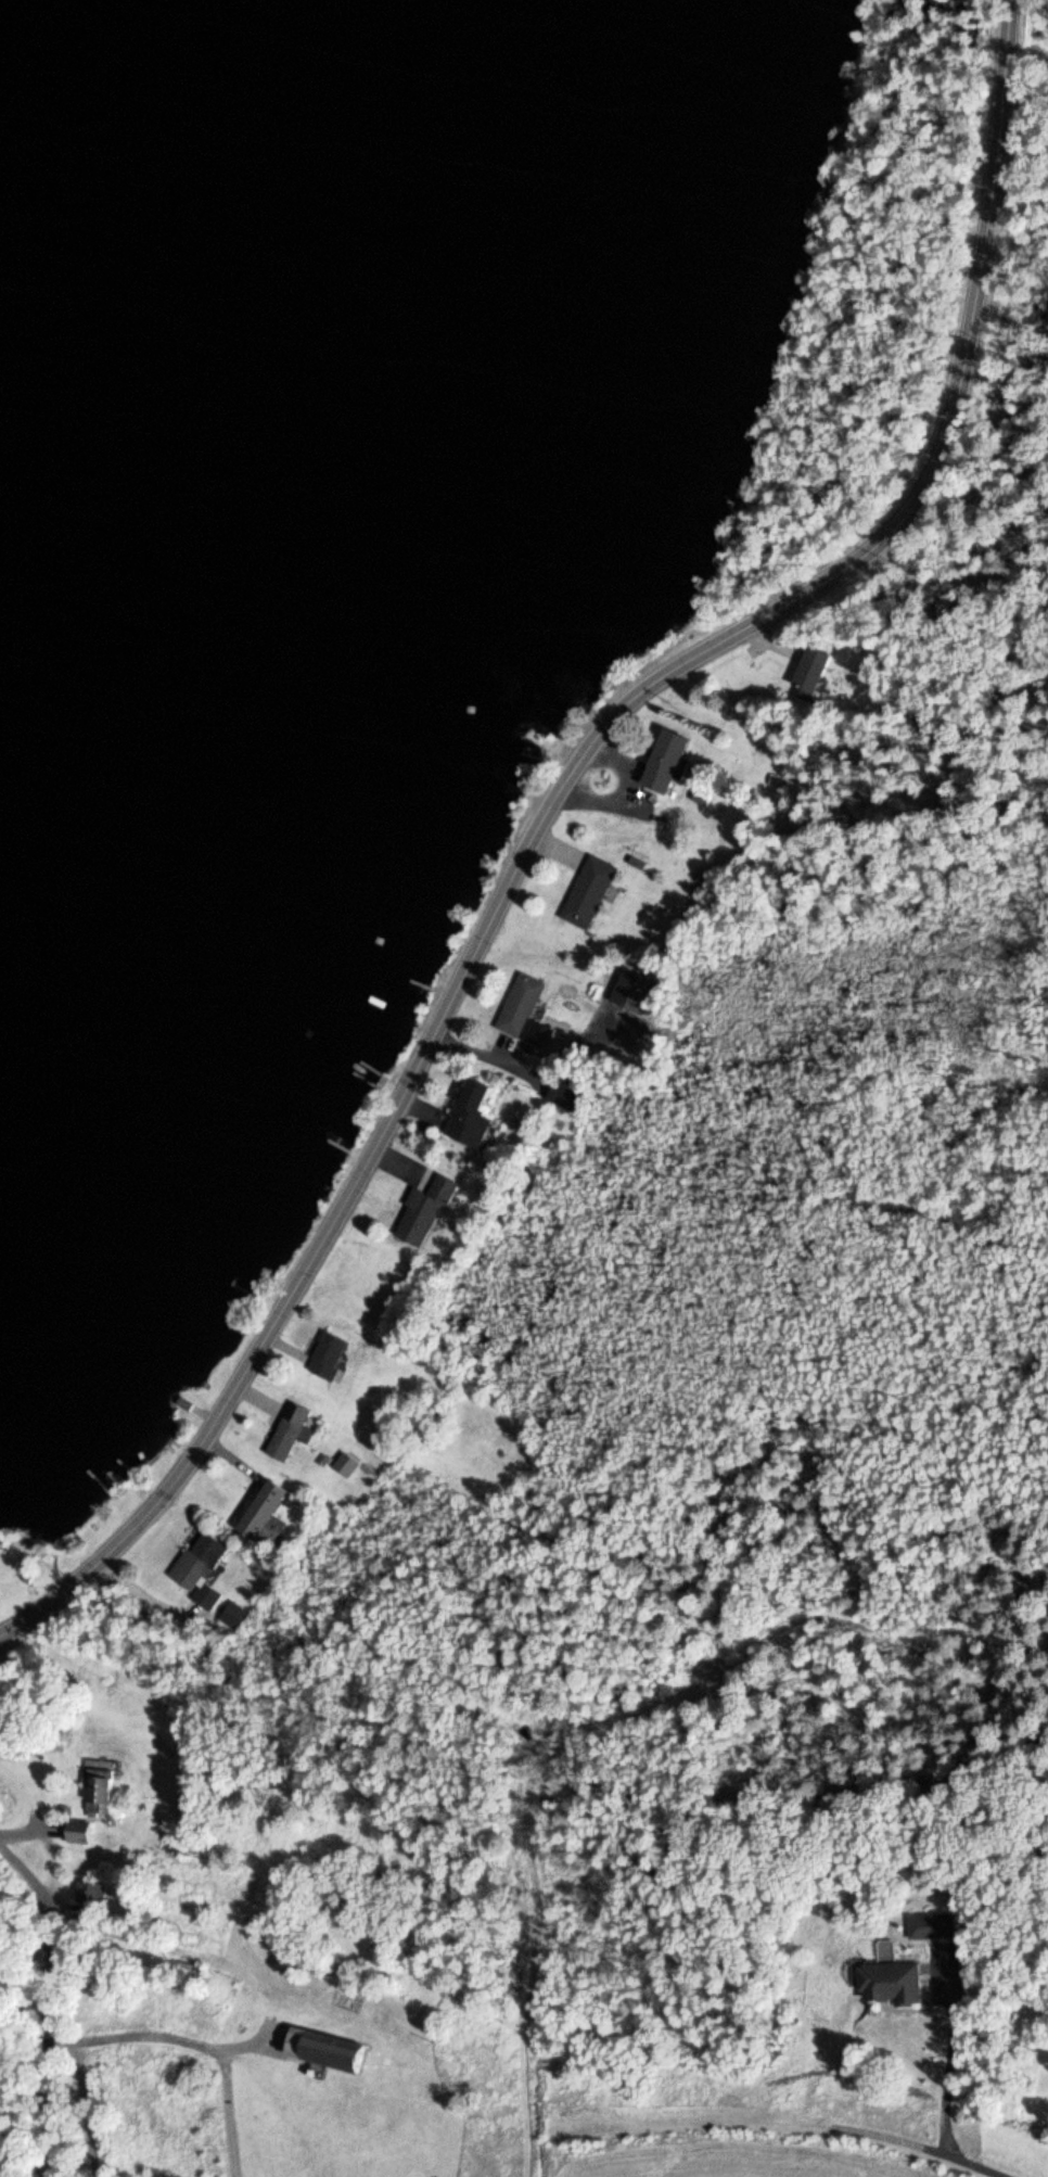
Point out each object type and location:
building: (808, 672)
building: (533, 753)
building: (662, 759)
road: (546, 810)
building: (587, 891)
building: (631, 991)
building: (519, 1005)
building: (565, 1093)
building: (467, 1113)
building: (422, 1211)
building: (325, 1354)
building: (289, 1430)
building: (344, 1464)
building: (263, 1514)
building: (195, 1561)
building: (205, 1595)
building: (233, 1614)
building: (98, 1793)
building: (76, 1831)
building: (88, 1894)
road: (48, 1906)
building: (931, 1925)
building: (885, 1981)
building: (324, 2049)
road: (918, 2148)

